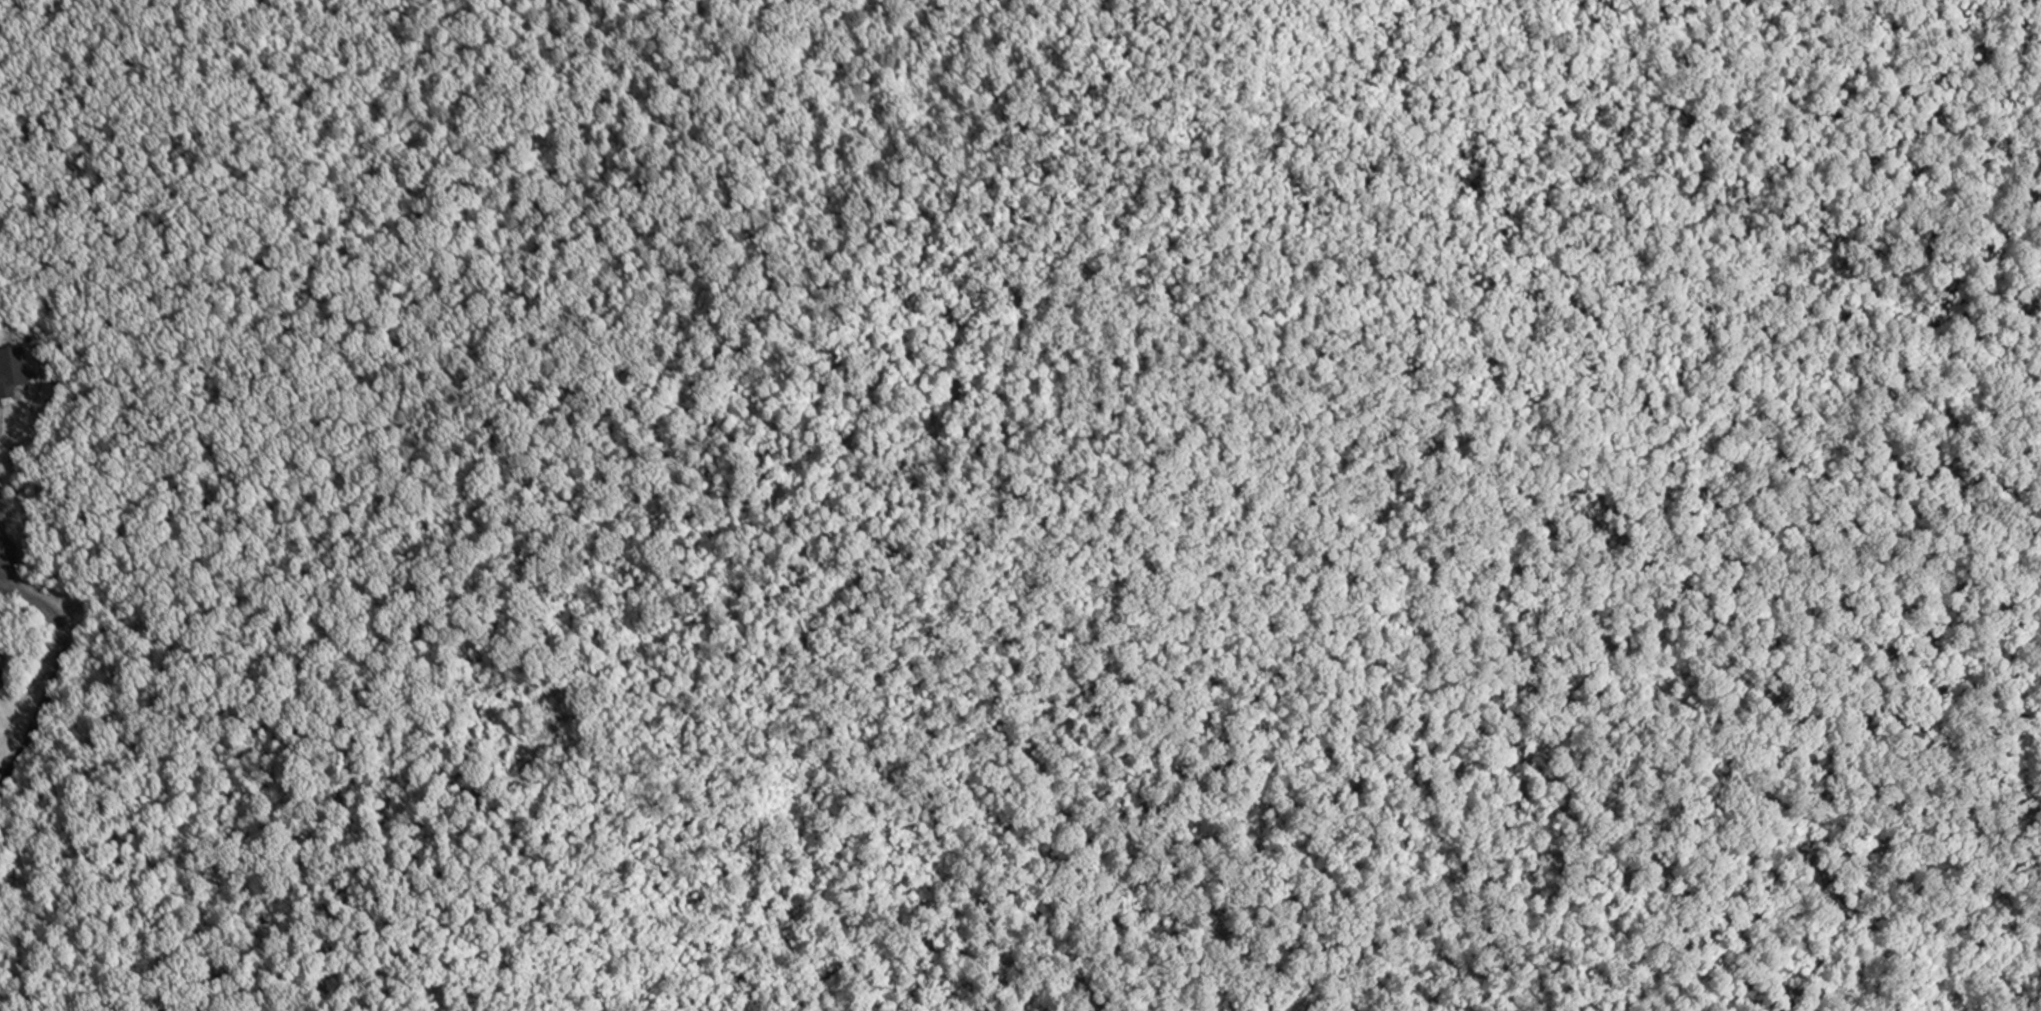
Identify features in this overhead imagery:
building: (13, 372)
road: (3, 515)
road: (627, 535)
road: (56, 672)
building: (2, 677)

